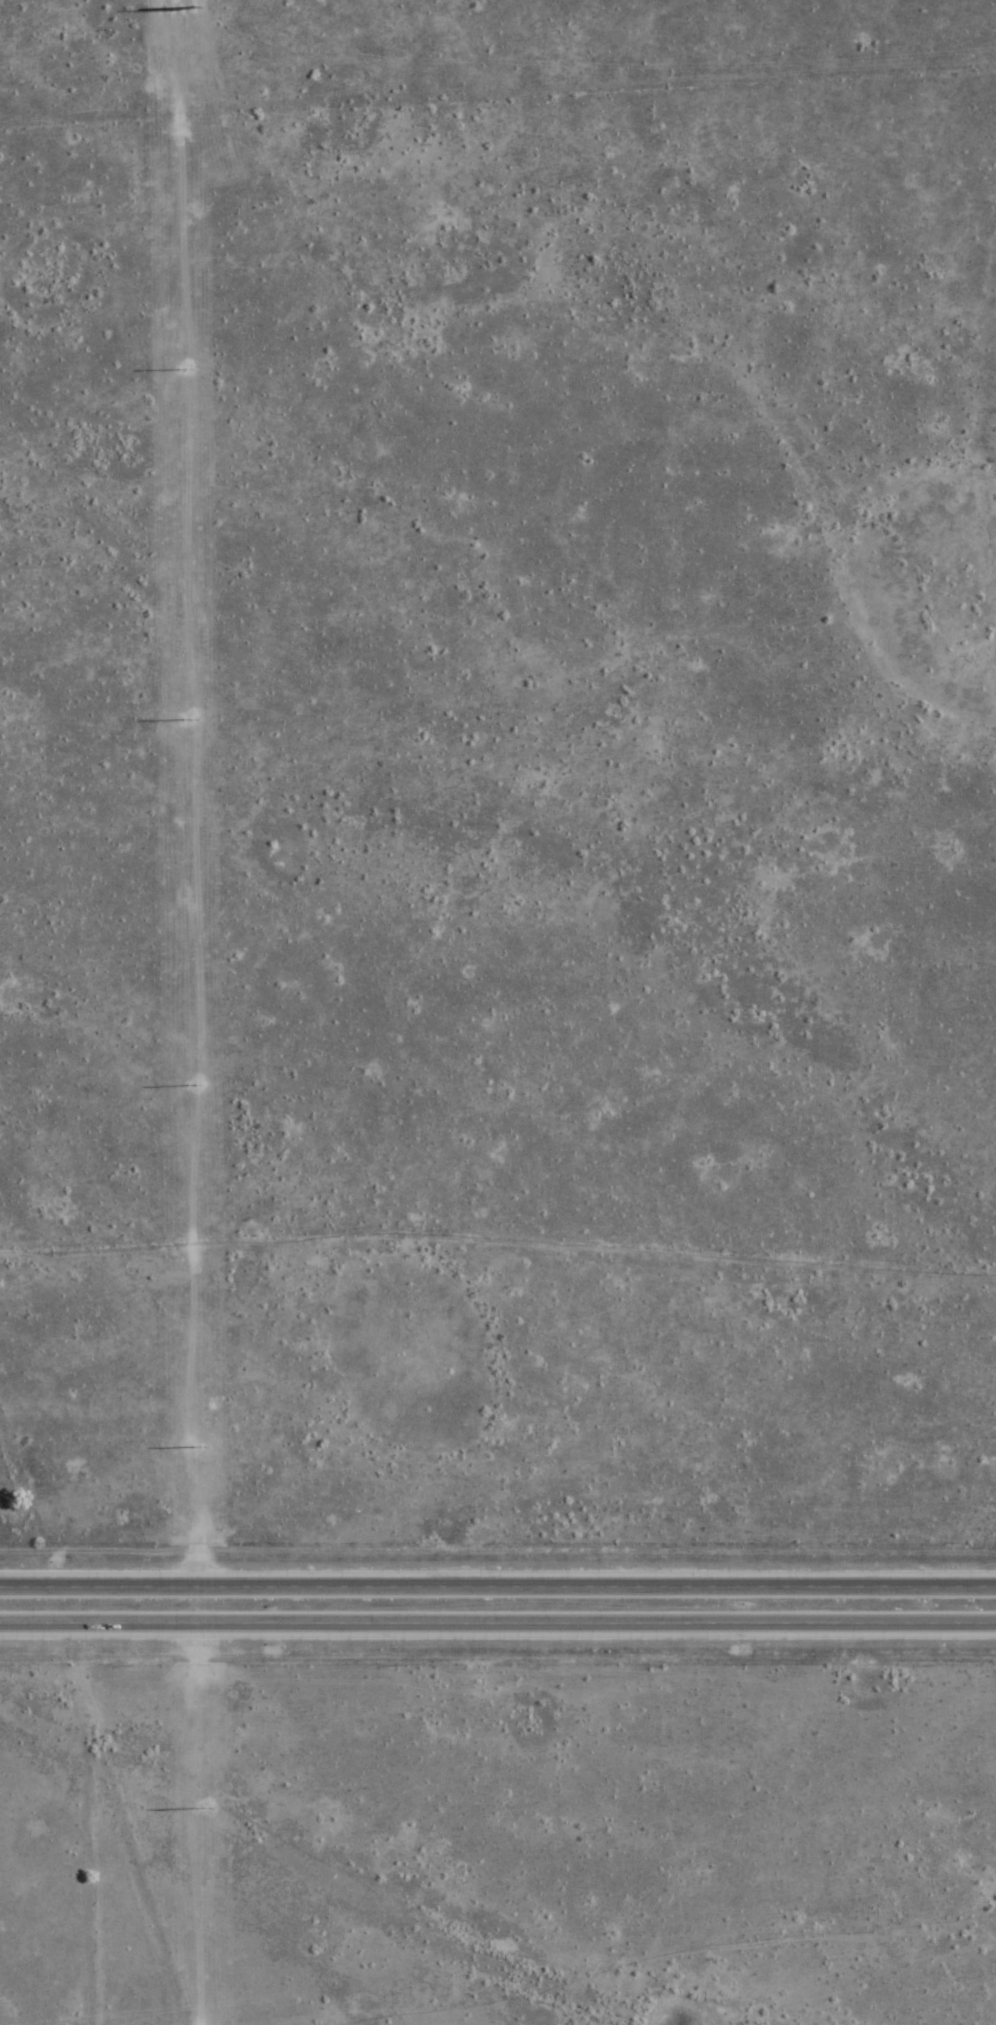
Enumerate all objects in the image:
road: (498, 1590)
road: (498, 1626)

